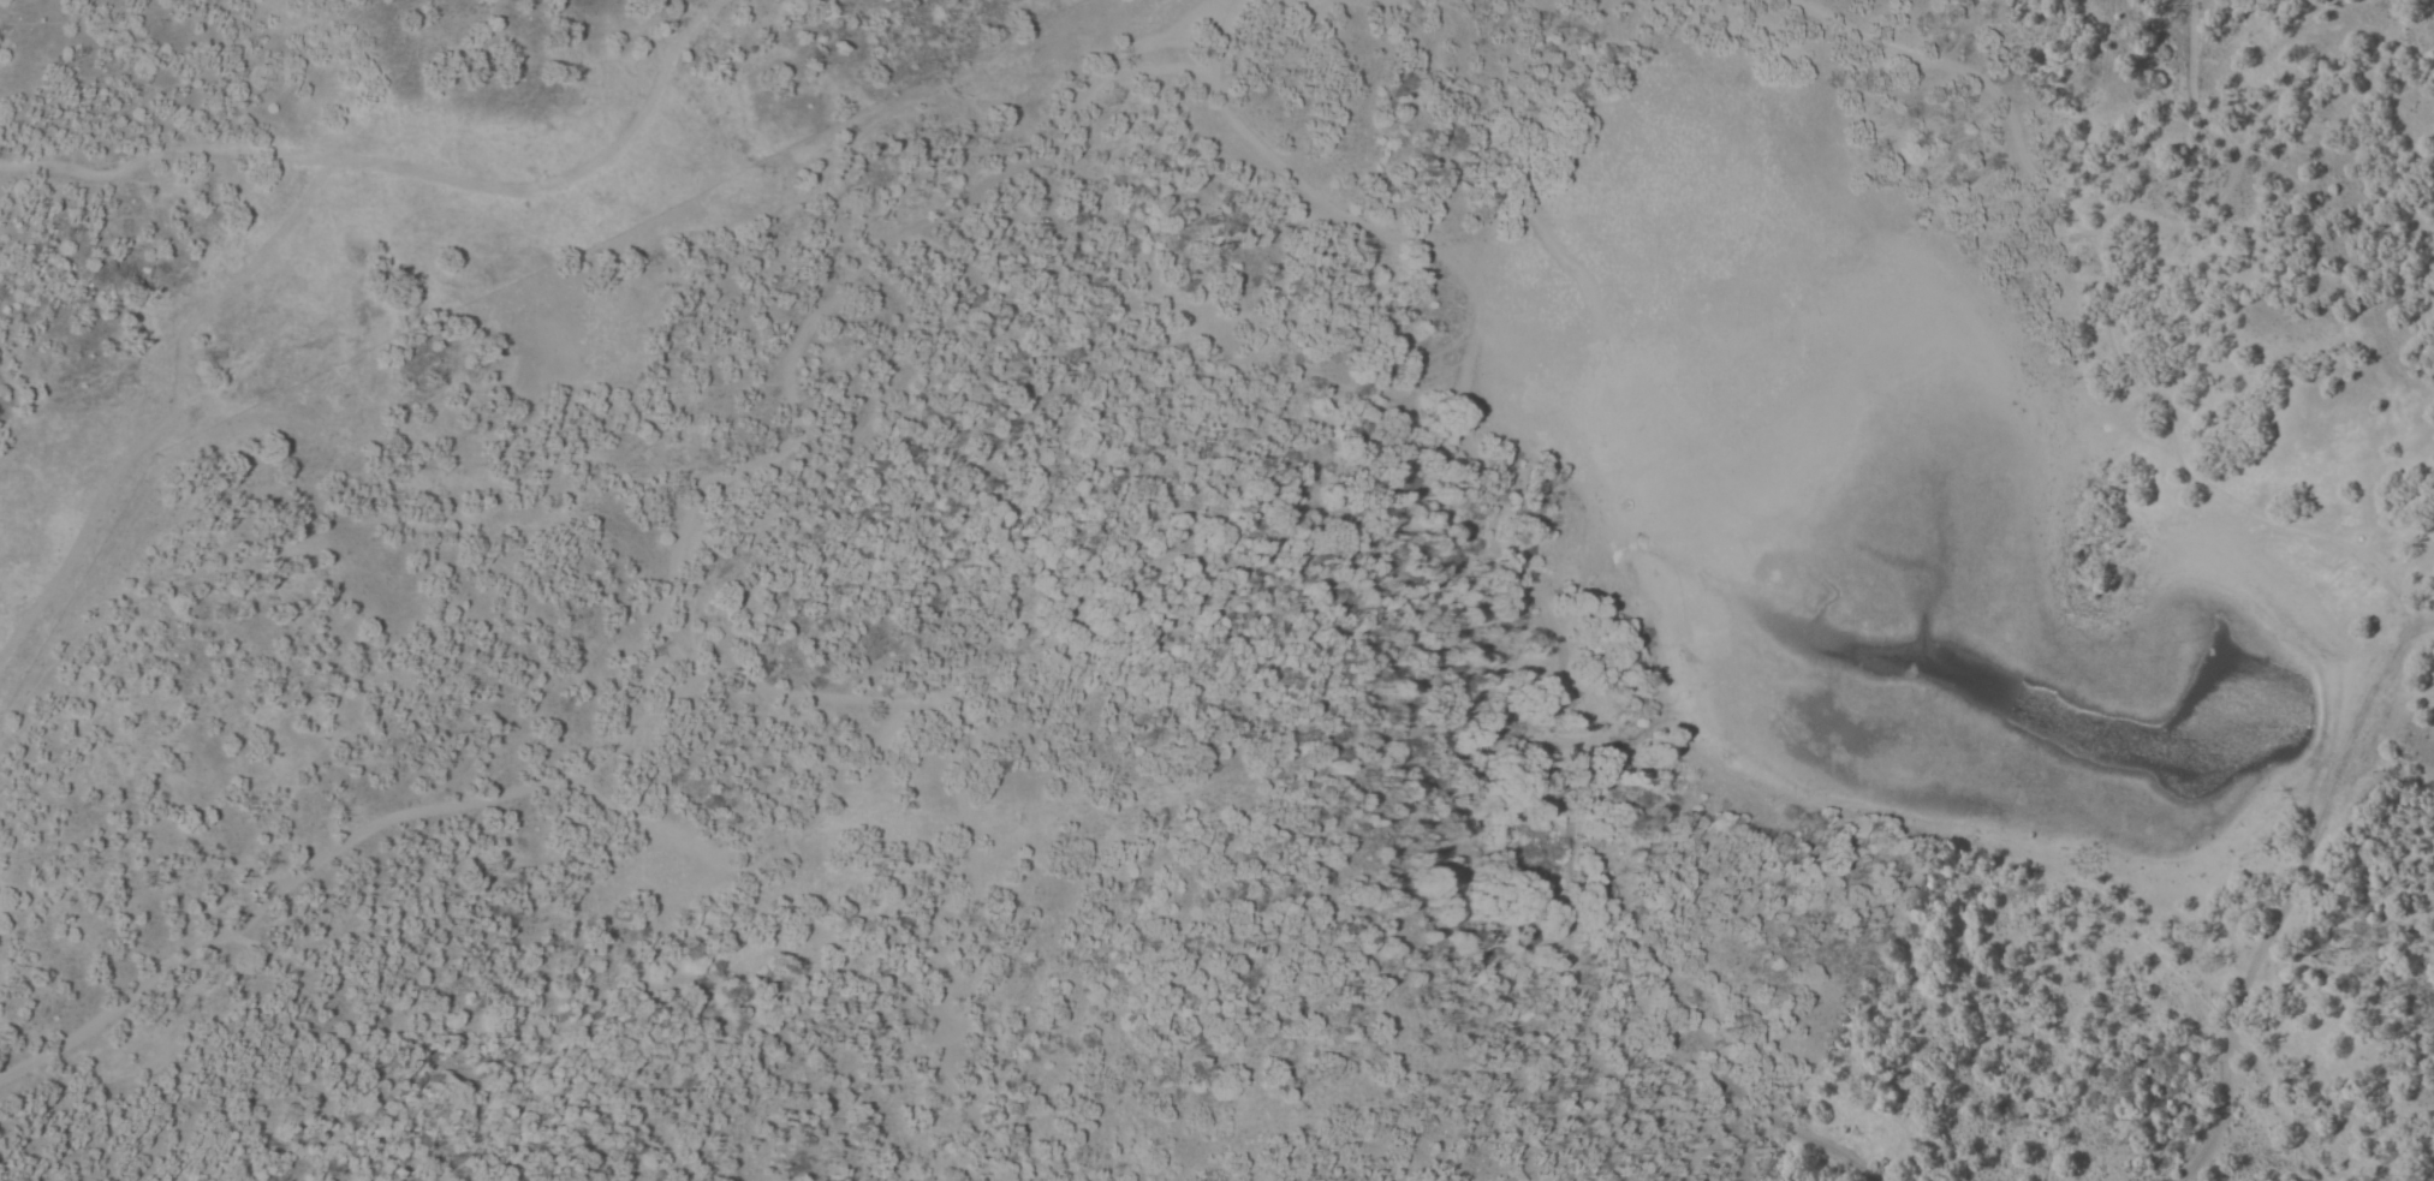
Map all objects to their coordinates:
road: (2350, 1)
road: (1219, 41)
road: (1974, 78)
road: (171, 155)
road: (2232, 156)
road: (293, 213)
road: (2095, 229)
road: (2096, 239)
road: (825, 303)
road: (2202, 485)
road: (1495, 506)
road: (891, 704)
road: (2287, 901)
road: (195, 949)
road: (2278, 1107)
road: (1731, 1111)
road: (1790, 1132)

